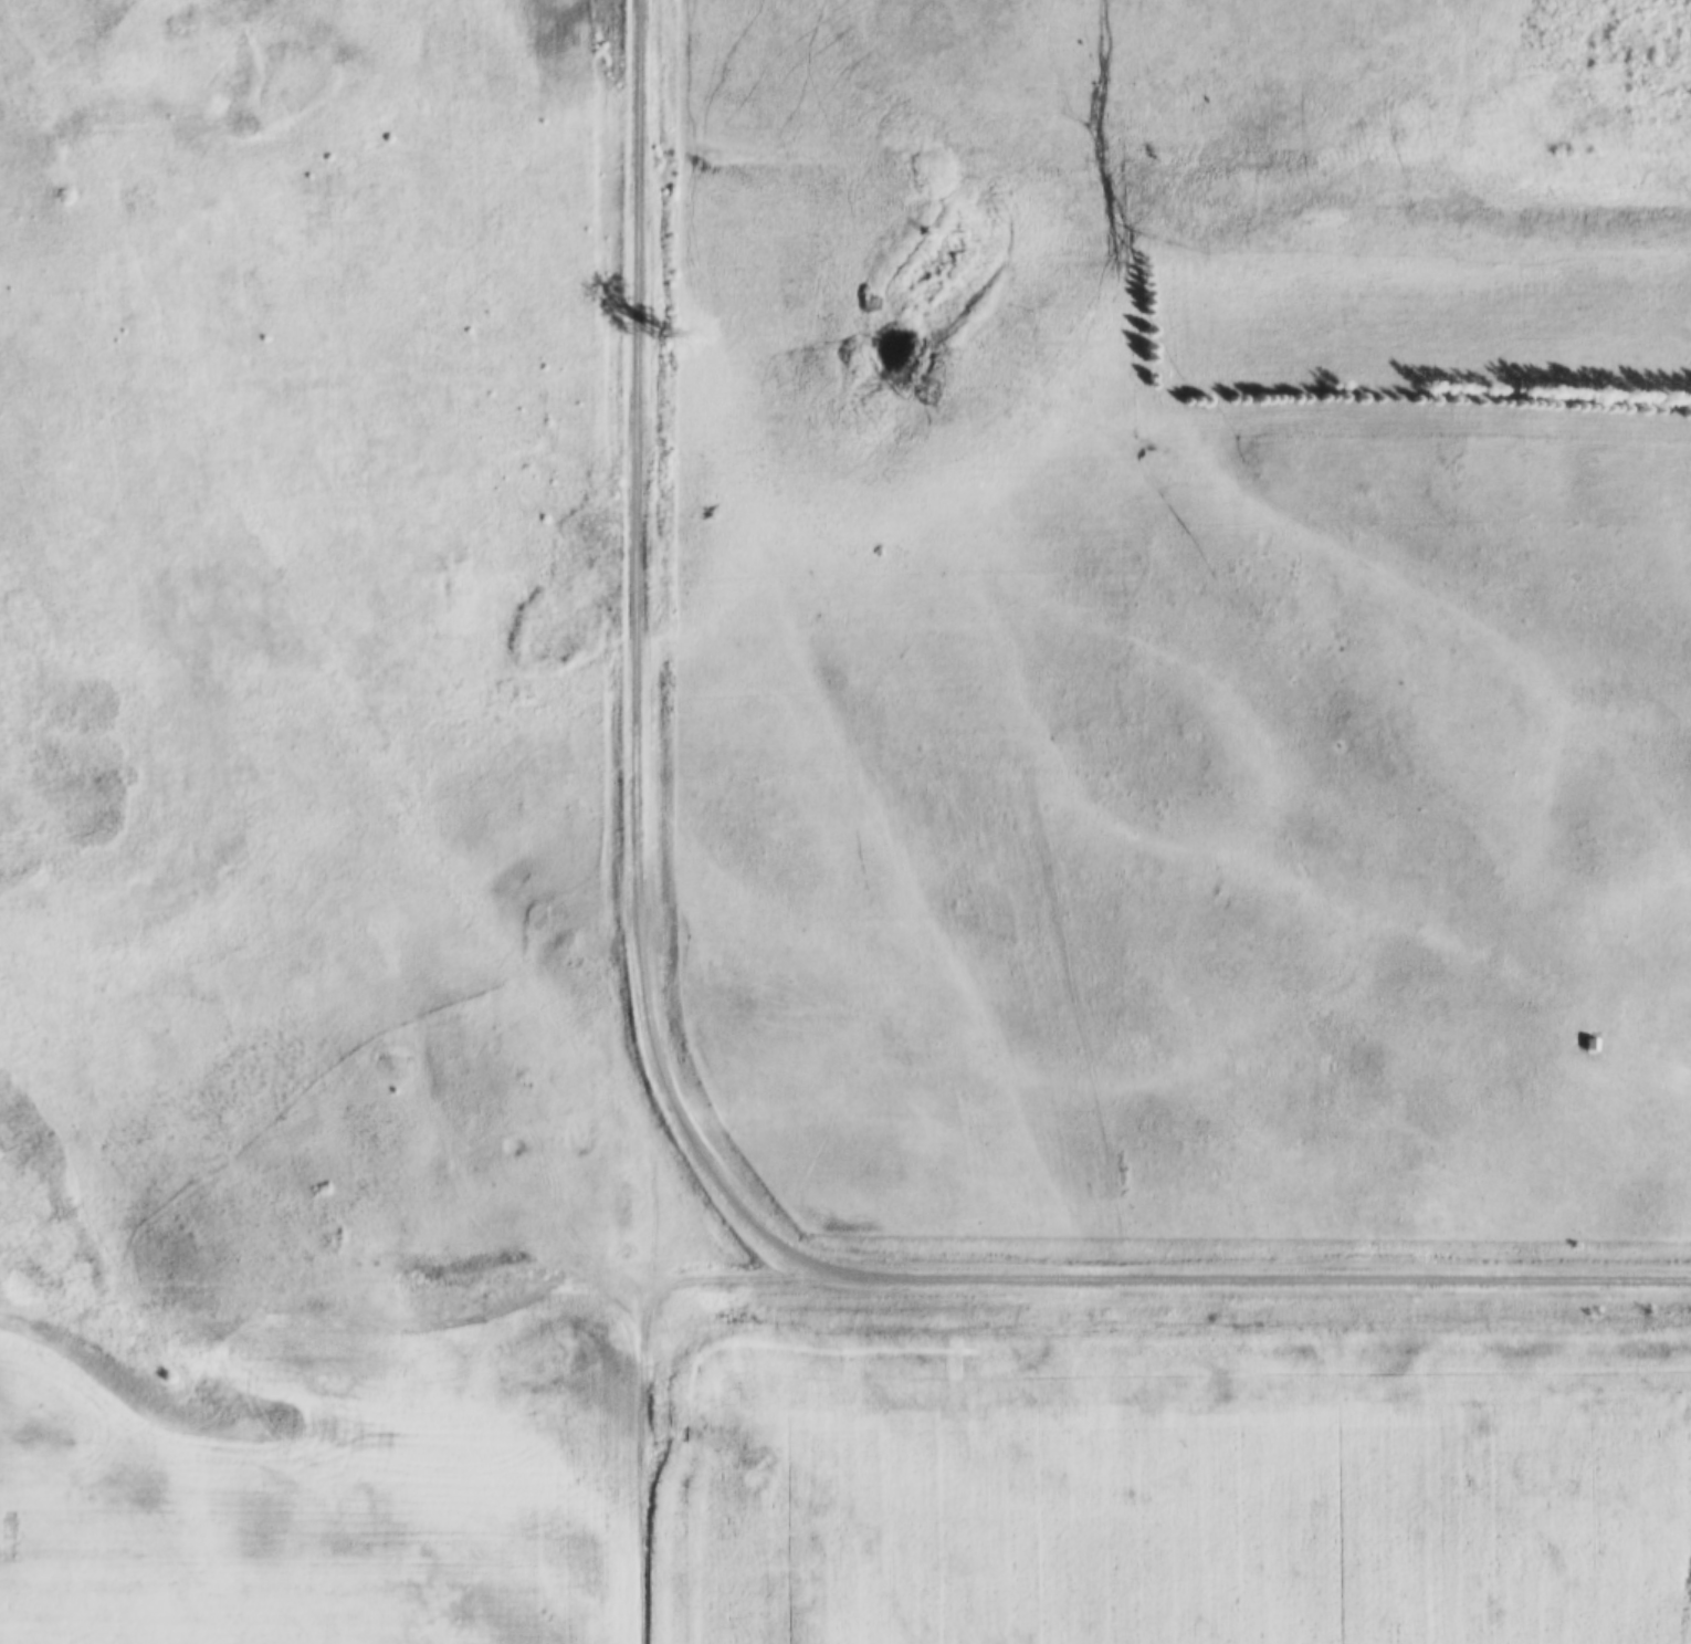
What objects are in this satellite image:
road: (637, 667)
building: (1594, 1047)
road: (1257, 1271)
road: (643, 1376)

